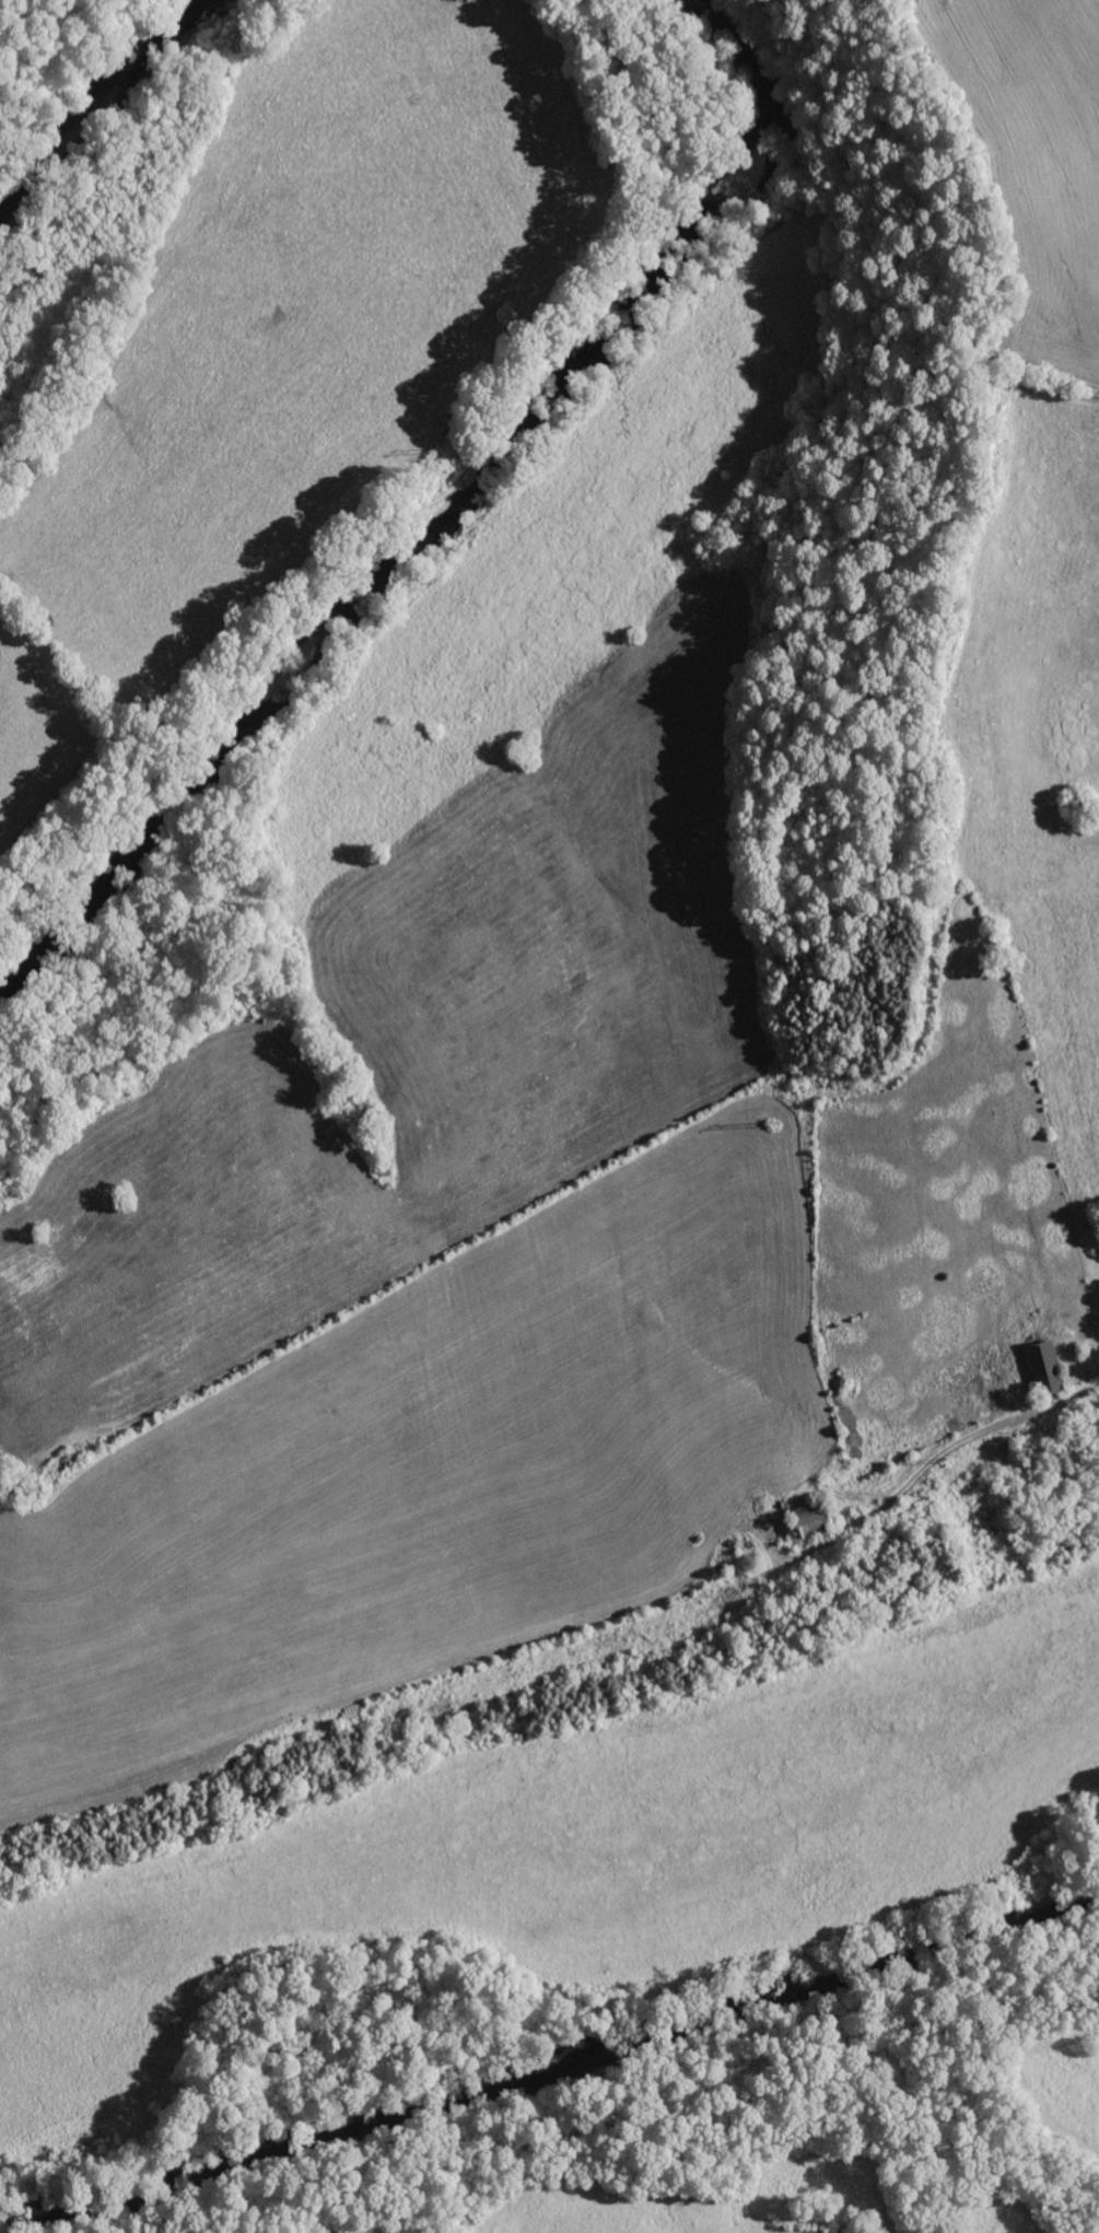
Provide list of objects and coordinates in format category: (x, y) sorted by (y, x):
building: (1045, 1368)
building: (812, 1522)

